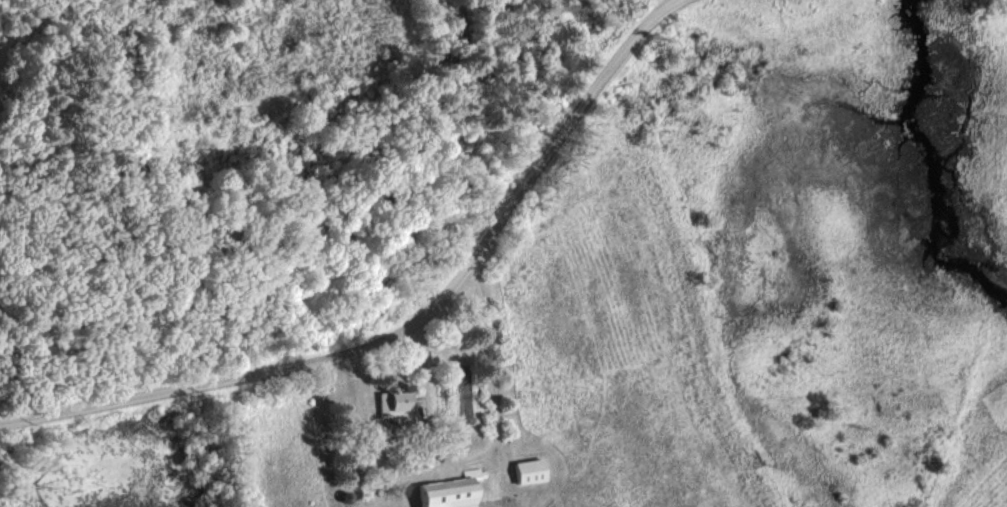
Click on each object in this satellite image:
road: (401, 311)
building: (401, 405)
building: (533, 471)
building: (455, 491)

